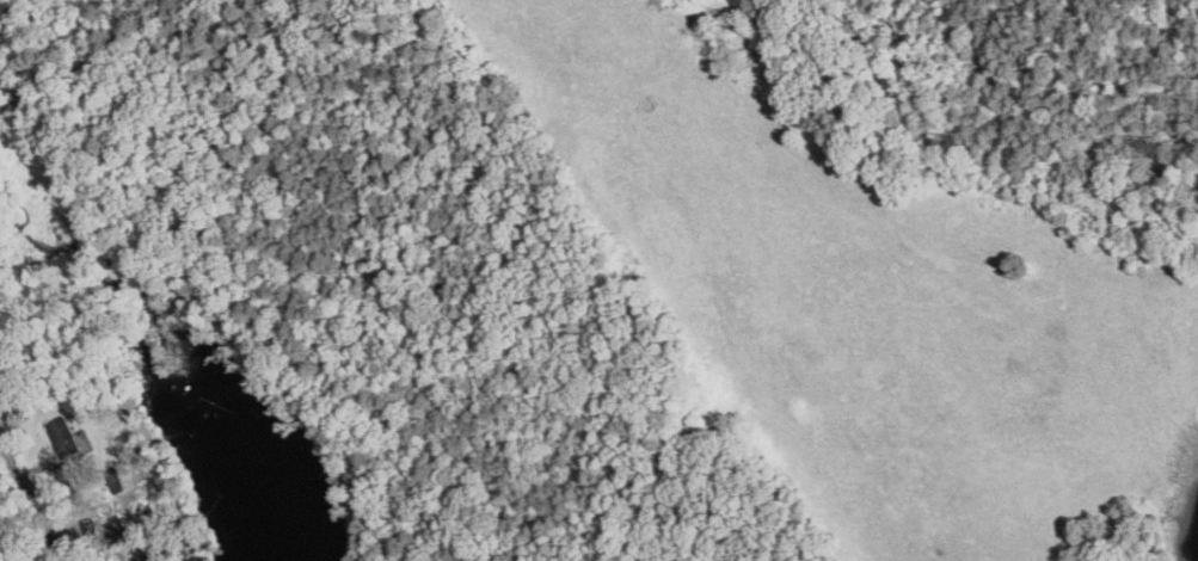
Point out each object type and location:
building: (66, 438)
road: (39, 516)

